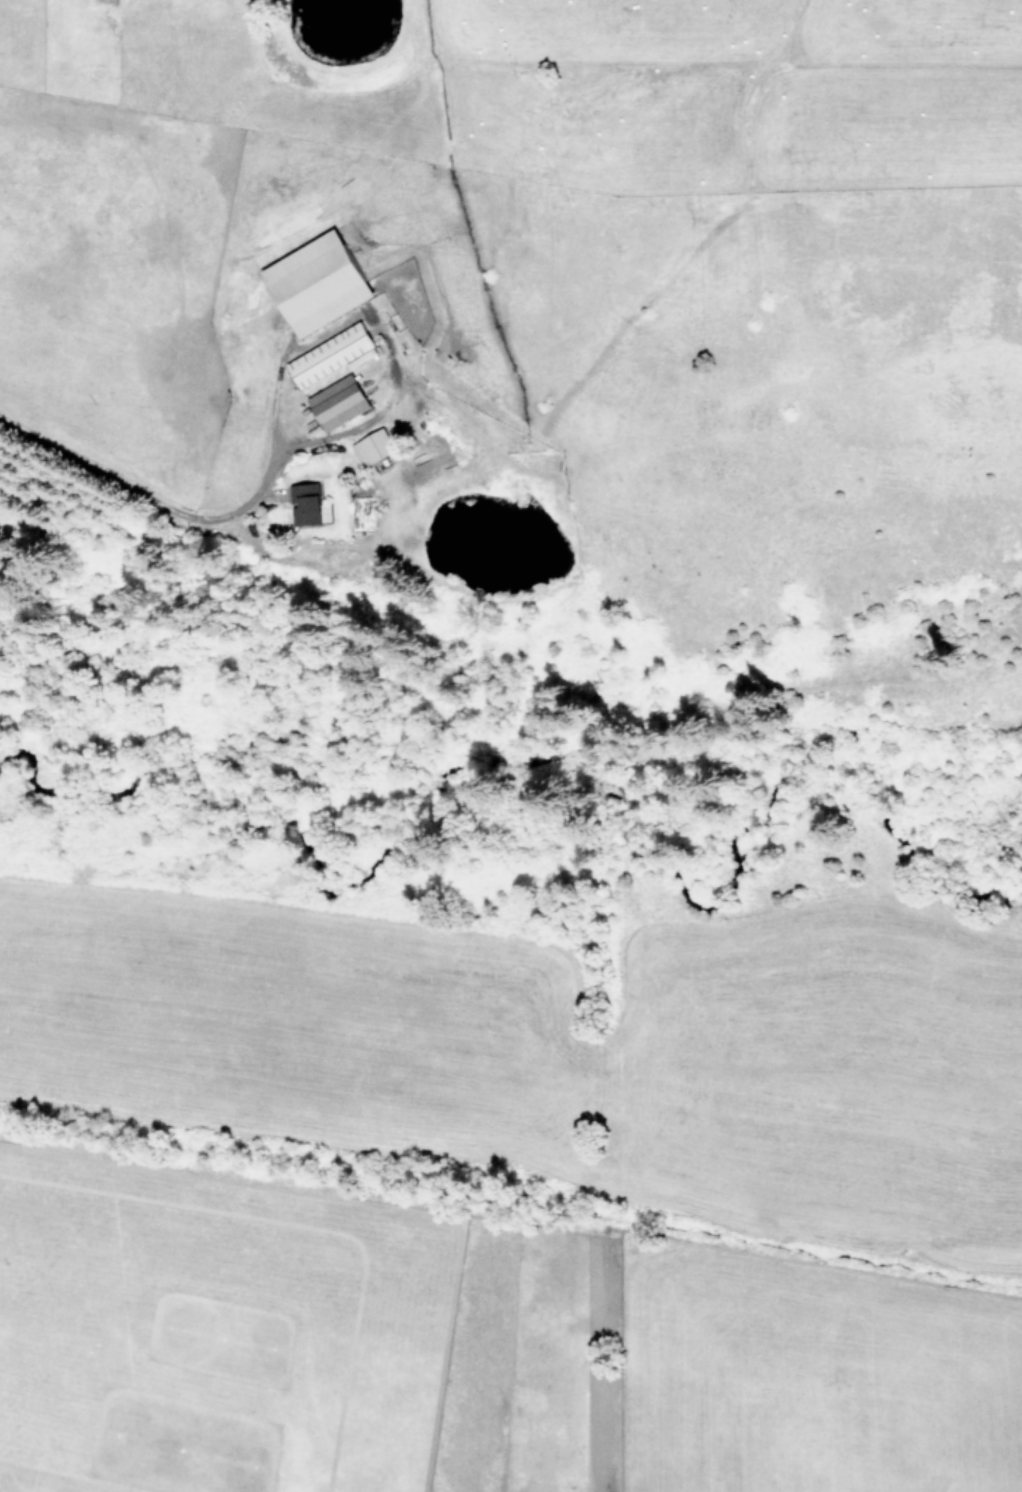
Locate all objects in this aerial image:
building: (316, 282)
building: (331, 354)
building: (337, 401)
building: (373, 446)
road: (152, 498)
building: (307, 503)
crop: (506, 1201)

